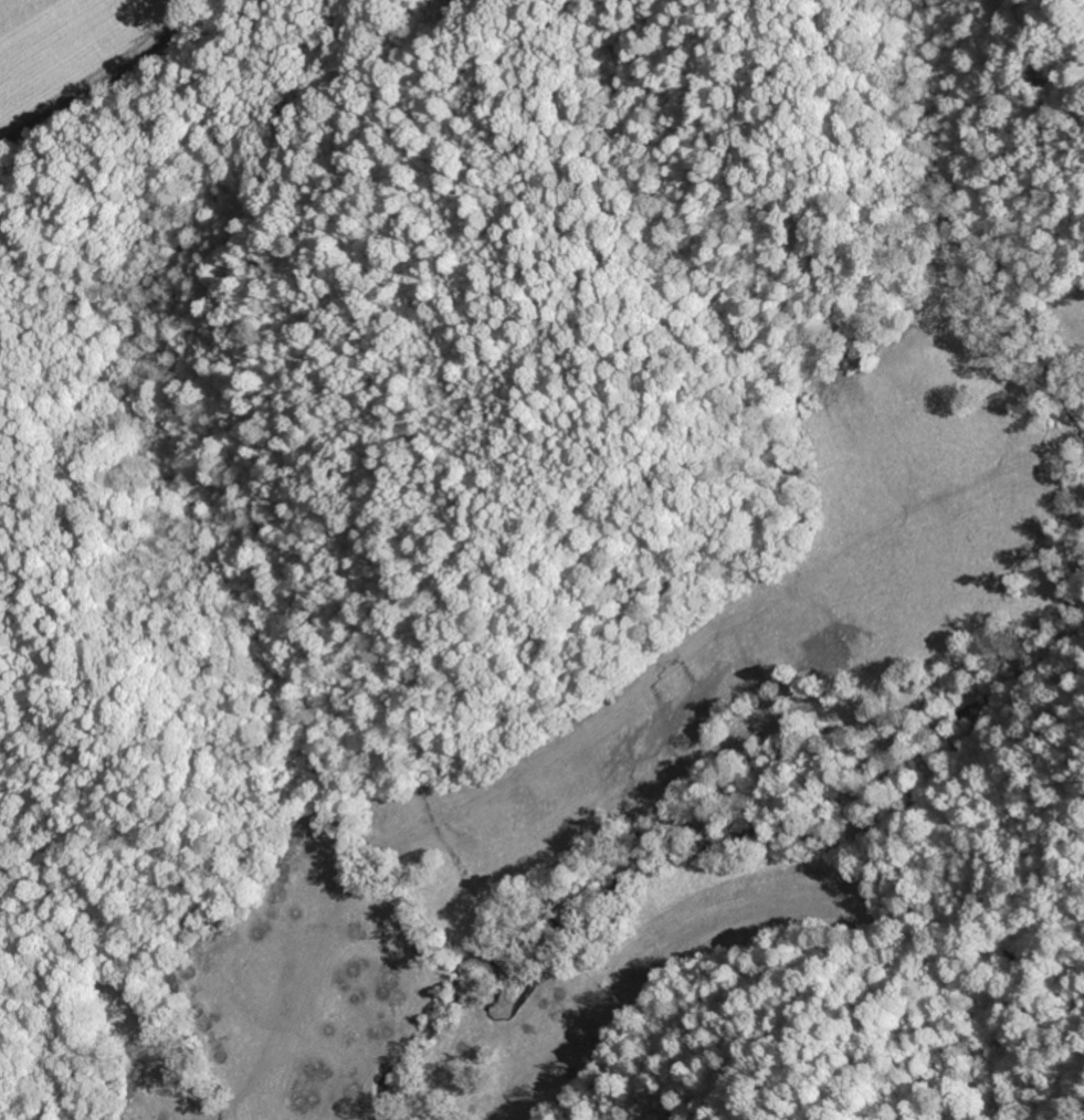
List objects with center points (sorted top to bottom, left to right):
road: (102, 82)

